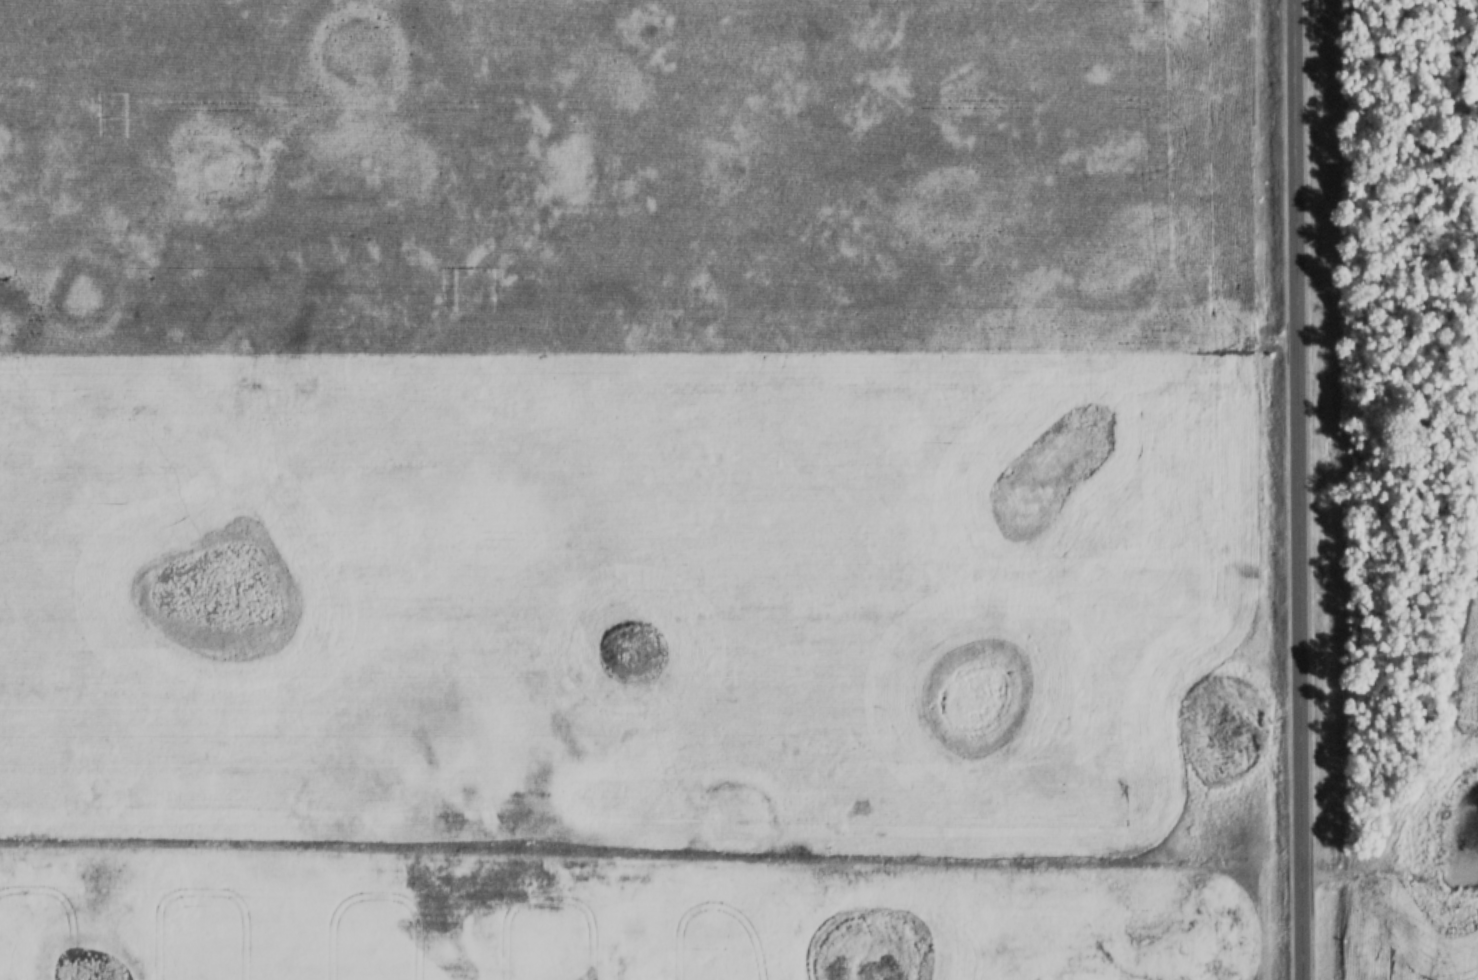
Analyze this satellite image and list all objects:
road: (1260, 490)

